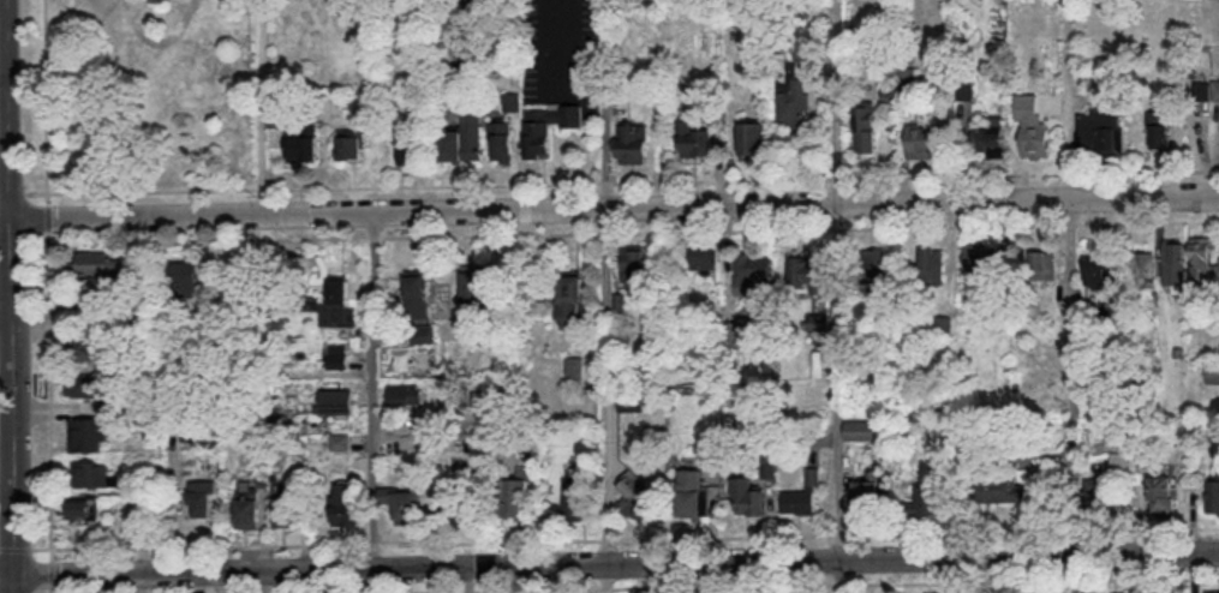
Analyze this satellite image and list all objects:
building: (1206, 86)
road: (1070, 98)
road: (46, 100)
building: (512, 101)
building: (794, 101)
road: (839, 101)
road: (602, 102)
road: (262, 106)
building: (1033, 108)
road: (6, 109)
building: (548, 126)
building: (866, 126)
building: (1159, 126)
building: (1098, 133)
building: (464, 138)
building: (695, 138)
building: (752, 138)
building: (1036, 139)
building: (407, 140)
building: (502, 140)
building: (920, 140)
building: (993, 140)
building: (633, 142)
building: (352, 143)
building: (303, 144)
road: (1147, 170)
road: (1069, 172)
road: (957, 174)
road: (841, 176)
road: (722, 180)
road: (603, 182)
road: (309, 186)
road: (13, 191)
road: (613, 205)
road: (47, 216)
road: (1148, 221)
road: (1071, 223)
road: (956, 224)
road: (839, 227)
road: (721, 229)
road: (602, 230)
road: (486, 233)
road: (372, 235)
road: (207, 239)
building: (980, 256)
building: (703, 257)
building: (1203, 259)
building: (94, 262)
building: (1173, 262)
building: (633, 263)
building: (1042, 264)
building: (873, 265)
building: (931, 265)
building: (1143, 266)
building: (754, 268)
building: (1100, 270)
building: (811, 271)
building: (186, 277)
building: (473, 284)
building: (417, 294)
road: (6, 299)
building: (573, 300)
building: (339, 305)
building: (818, 321)
building: (944, 324)
building: (736, 331)
building: (425, 333)
building: (91, 345)
building: (339, 355)
building: (574, 367)
building: (1212, 372)
road: (1075, 377)
road: (841, 381)
building: (86, 383)
road: (604, 385)
road: (374, 388)
building: (406, 393)
road: (49, 394)
building: (336, 400)
road: (12, 405)
road: (441, 423)
building: (862, 430)
building: (86, 433)
building: (89, 473)
building: (1002, 487)
building: (692, 491)
building: (867, 492)
building: (1095, 493)
building: (1164, 493)
building: (803, 495)
building: (1213, 495)
building: (518, 496)
building: (748, 496)
building: (198, 497)
building: (639, 497)
building: (578, 499)
building: (928, 499)
building: (452, 502)
building: (281, 504)
building: (345, 505)
building: (407, 505)
building: (83, 509)
building: (245, 510)
road: (1159, 527)
road: (1081, 528)
road: (958, 531)
road: (843, 533)
road: (724, 535)
road: (606, 538)
road: (489, 540)
road: (371, 543)
road: (198, 545)
road: (16, 549)
road: (609, 563)
road: (52, 574)
road: (1080, 574)
road: (842, 576)
road: (1157, 577)
road: (1082, 579)
road: (962, 580)
road: (841, 581)
road: (143, 583)
road: (573, 587)
road: (52, 591)
building: (1211, 591)

